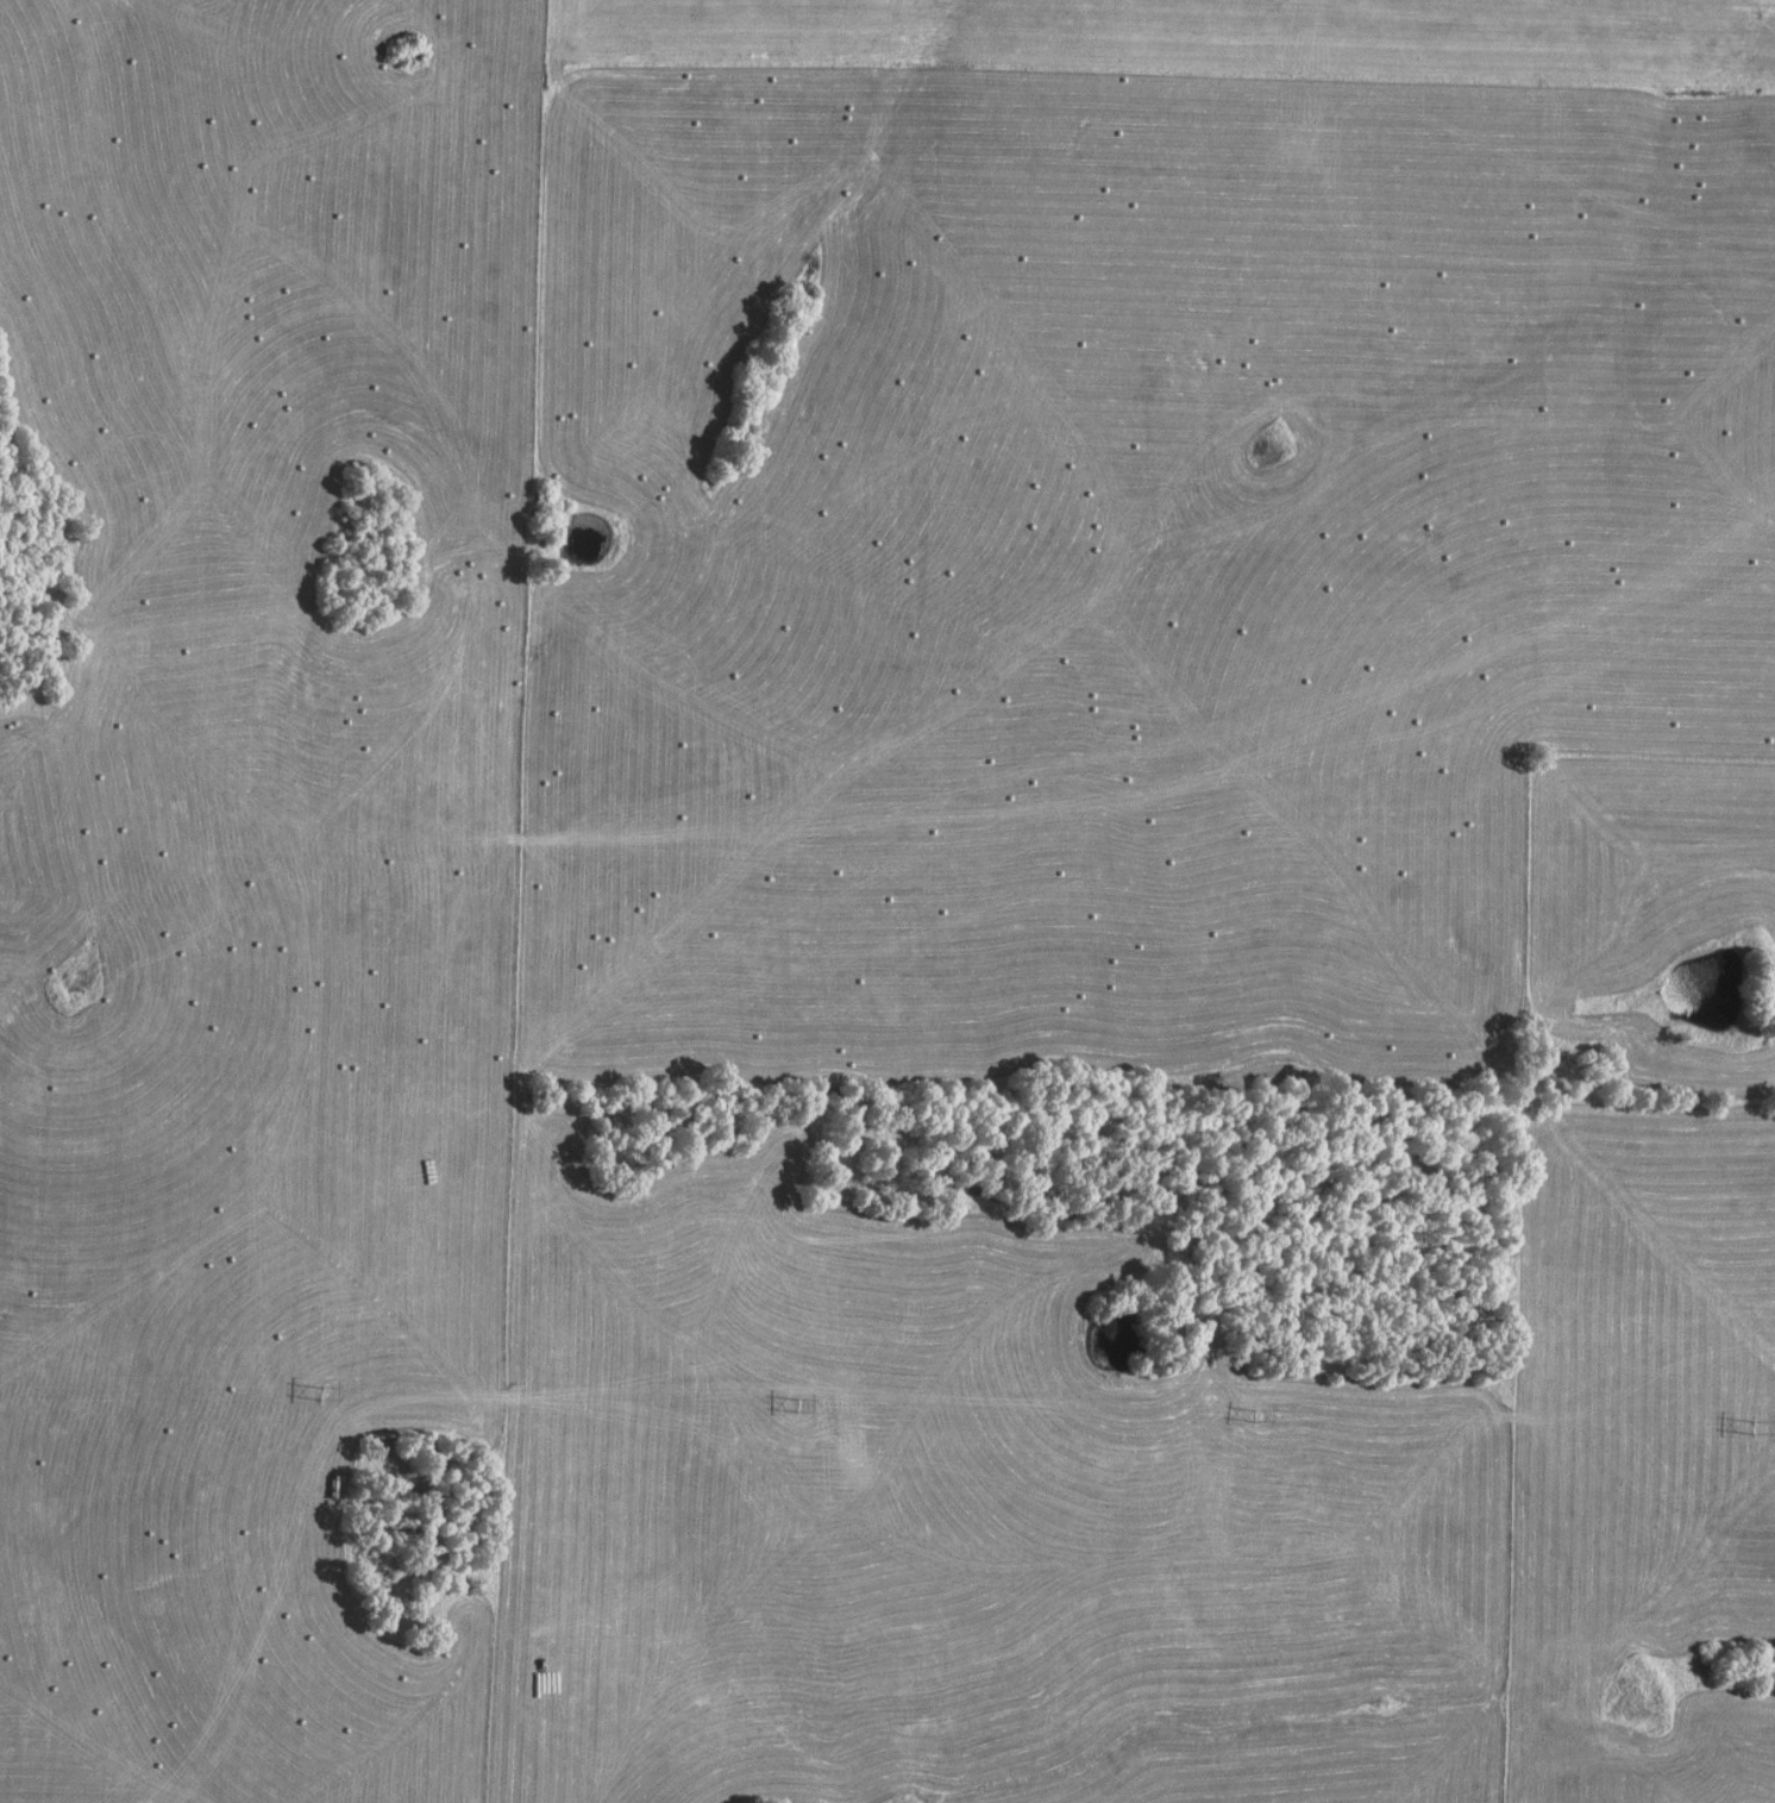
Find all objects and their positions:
power tower: (1253, 1415)
power tower: (1751, 1429)

